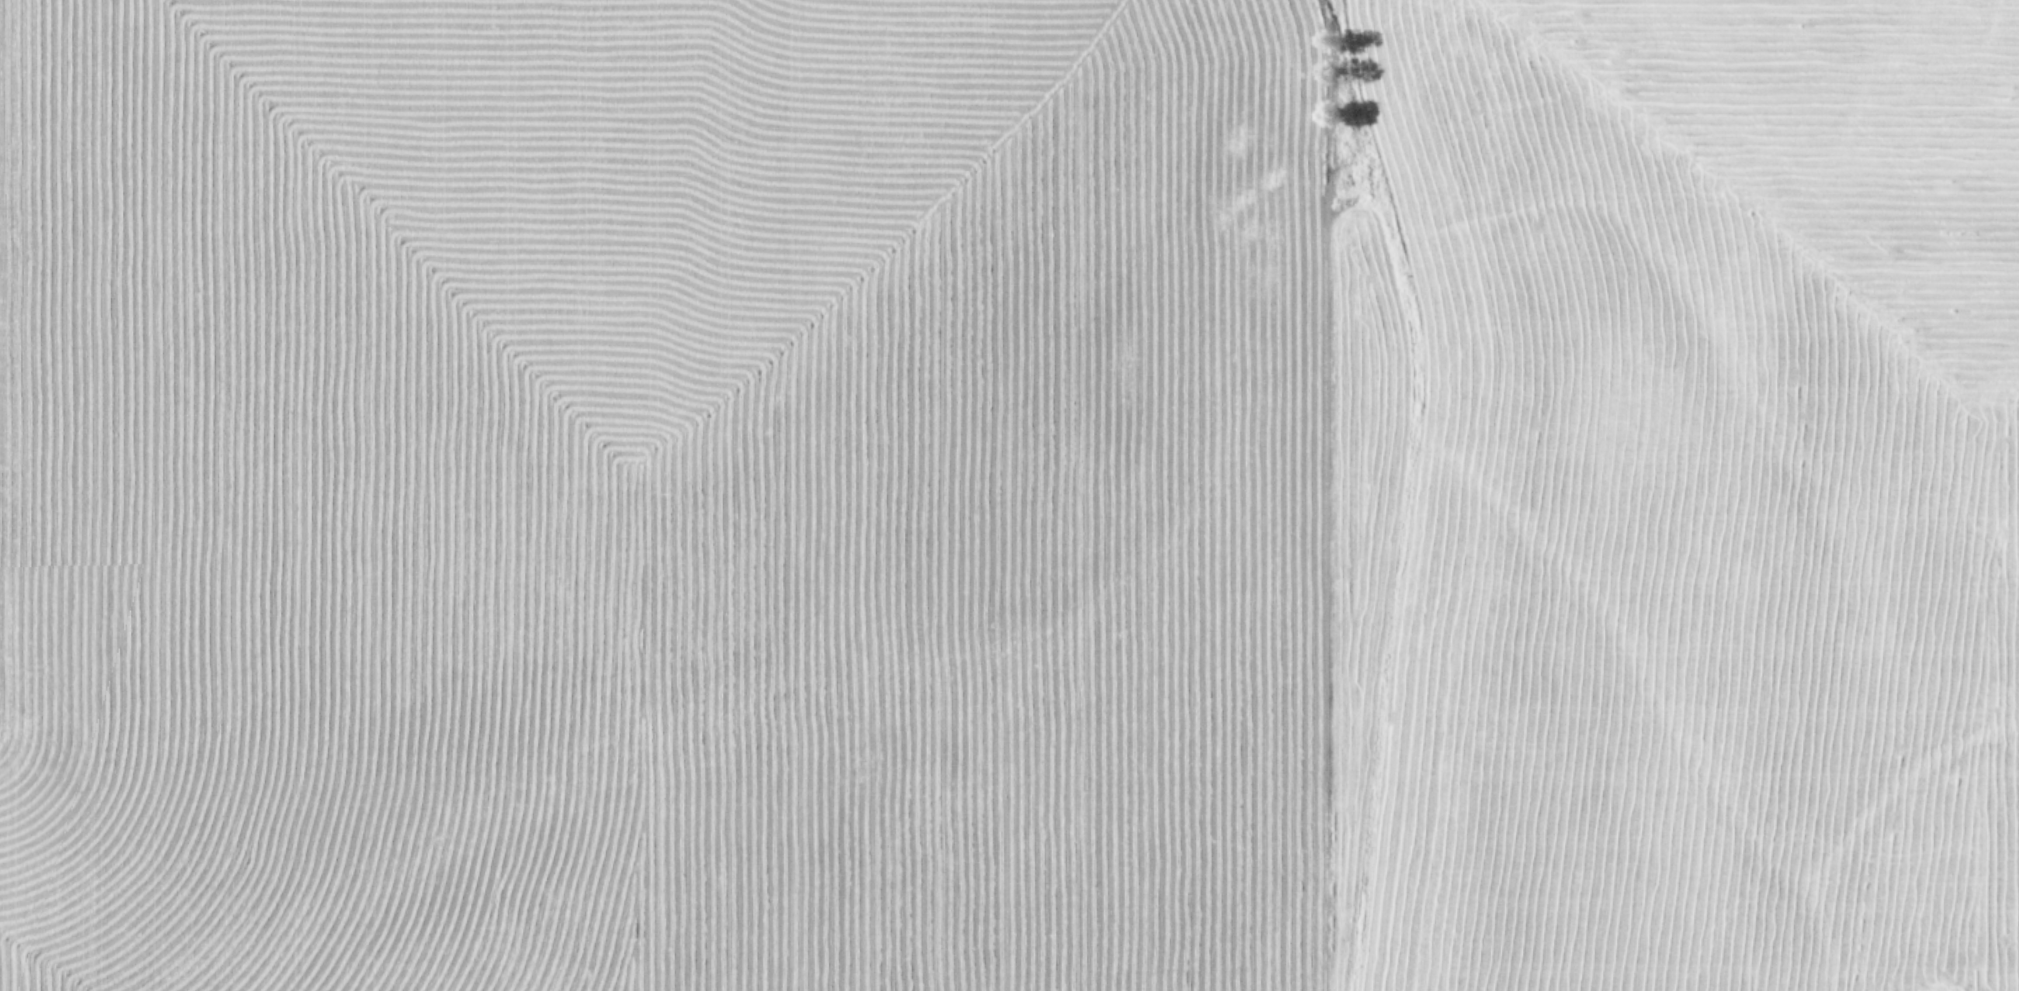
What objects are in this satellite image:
crop: (1009, 495)
road: (769, 735)

